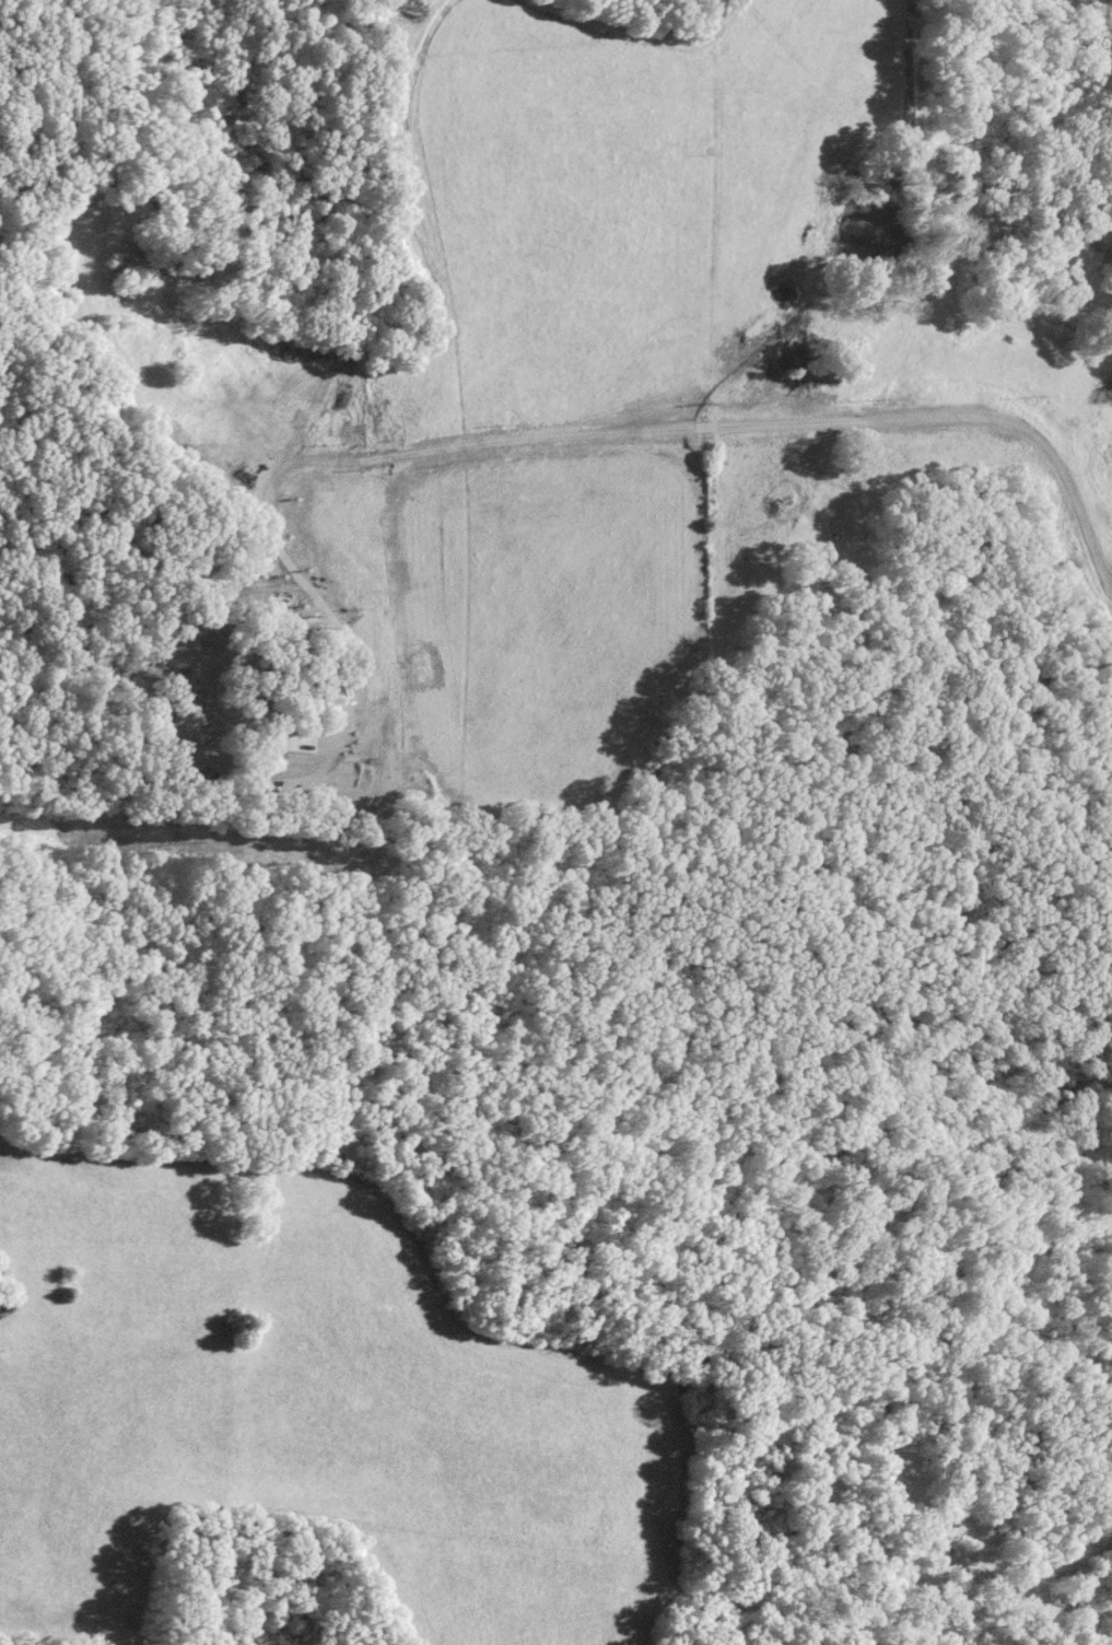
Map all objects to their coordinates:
road: (751, 425)

